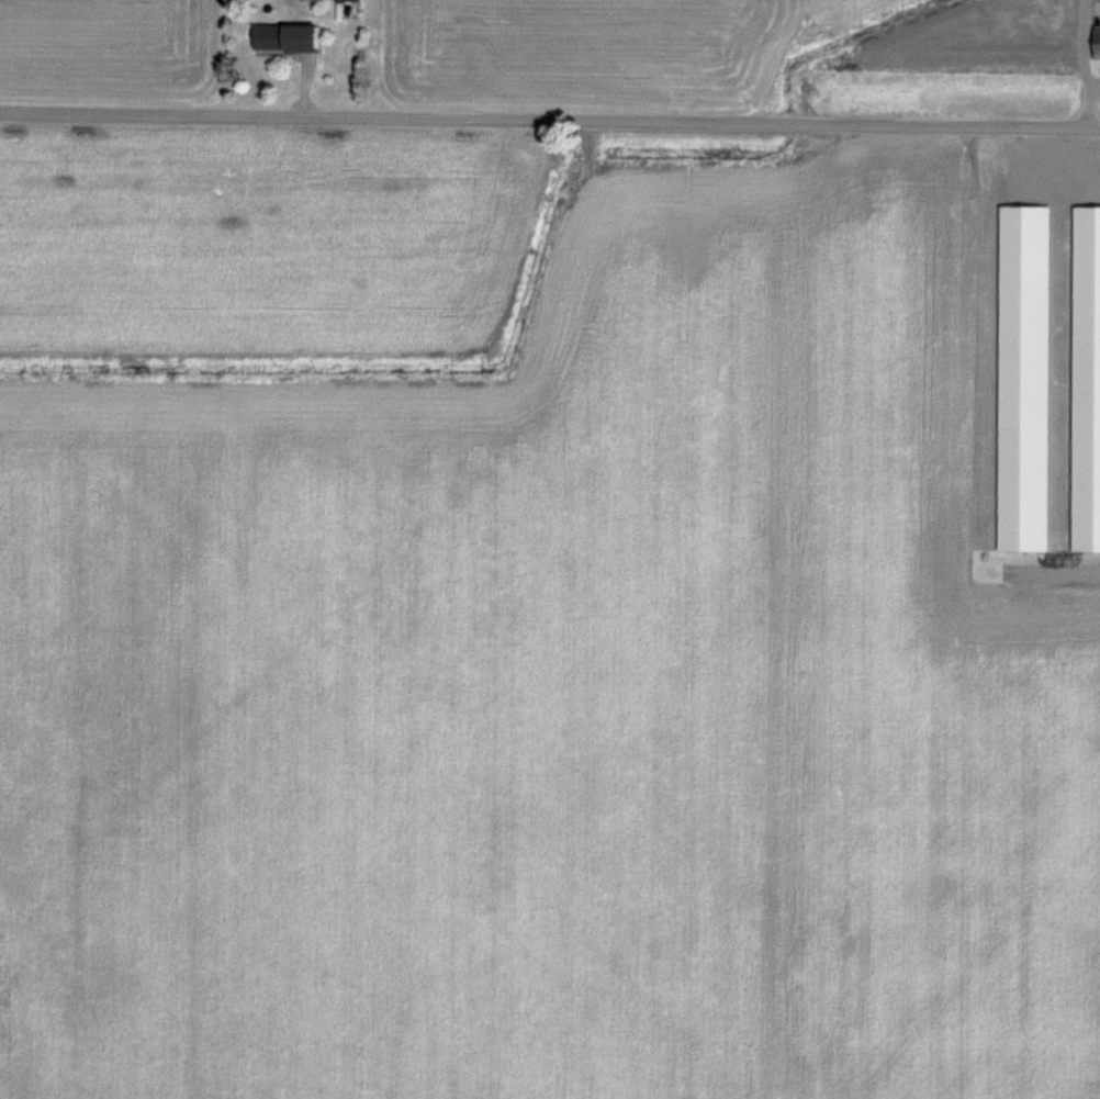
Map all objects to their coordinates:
building: (350, 0)
building: (289, 38)
building: (1098, 42)
road: (1086, 105)
road: (549, 121)

